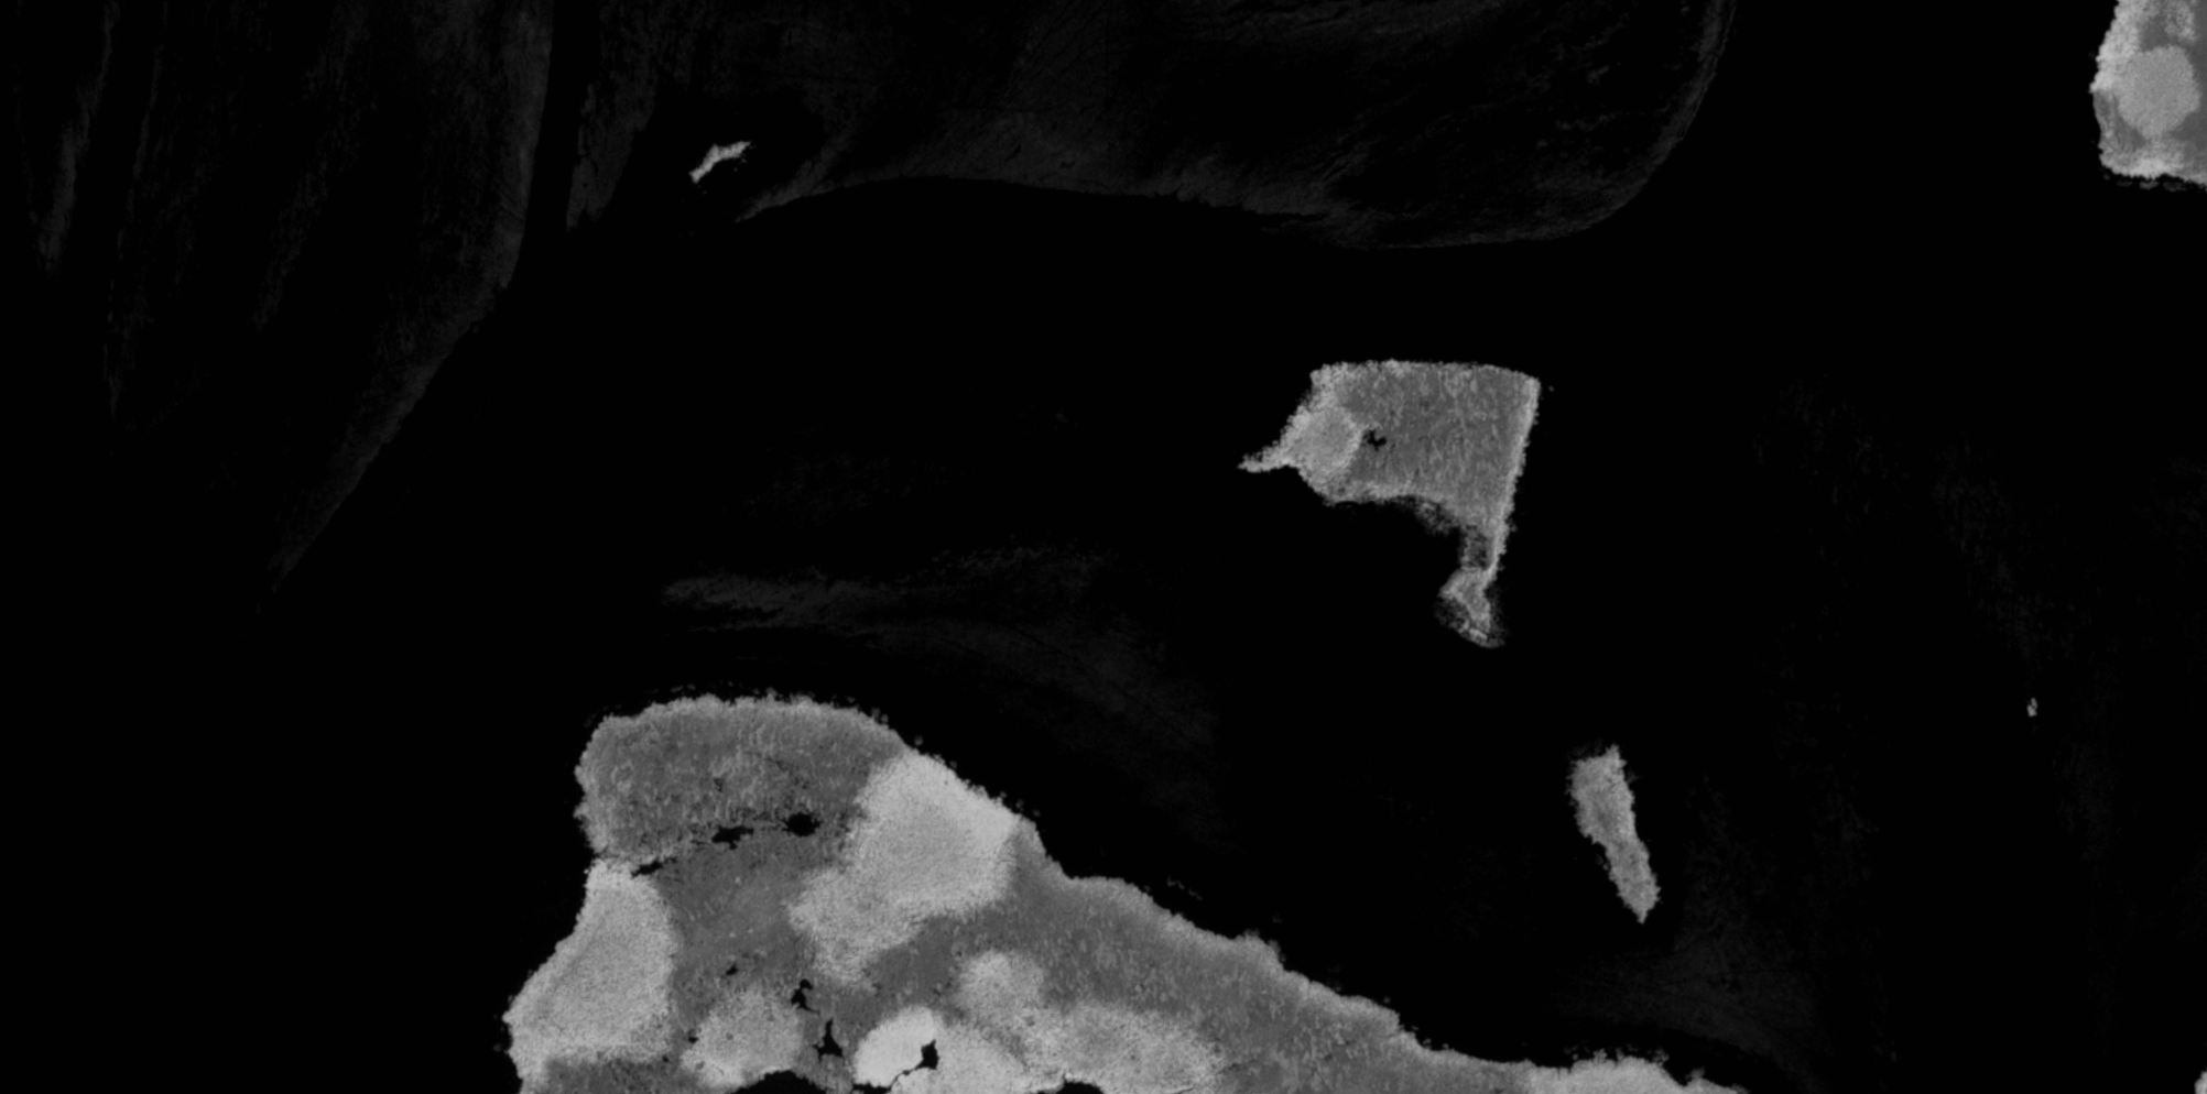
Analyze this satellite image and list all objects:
river: (863, 284)

